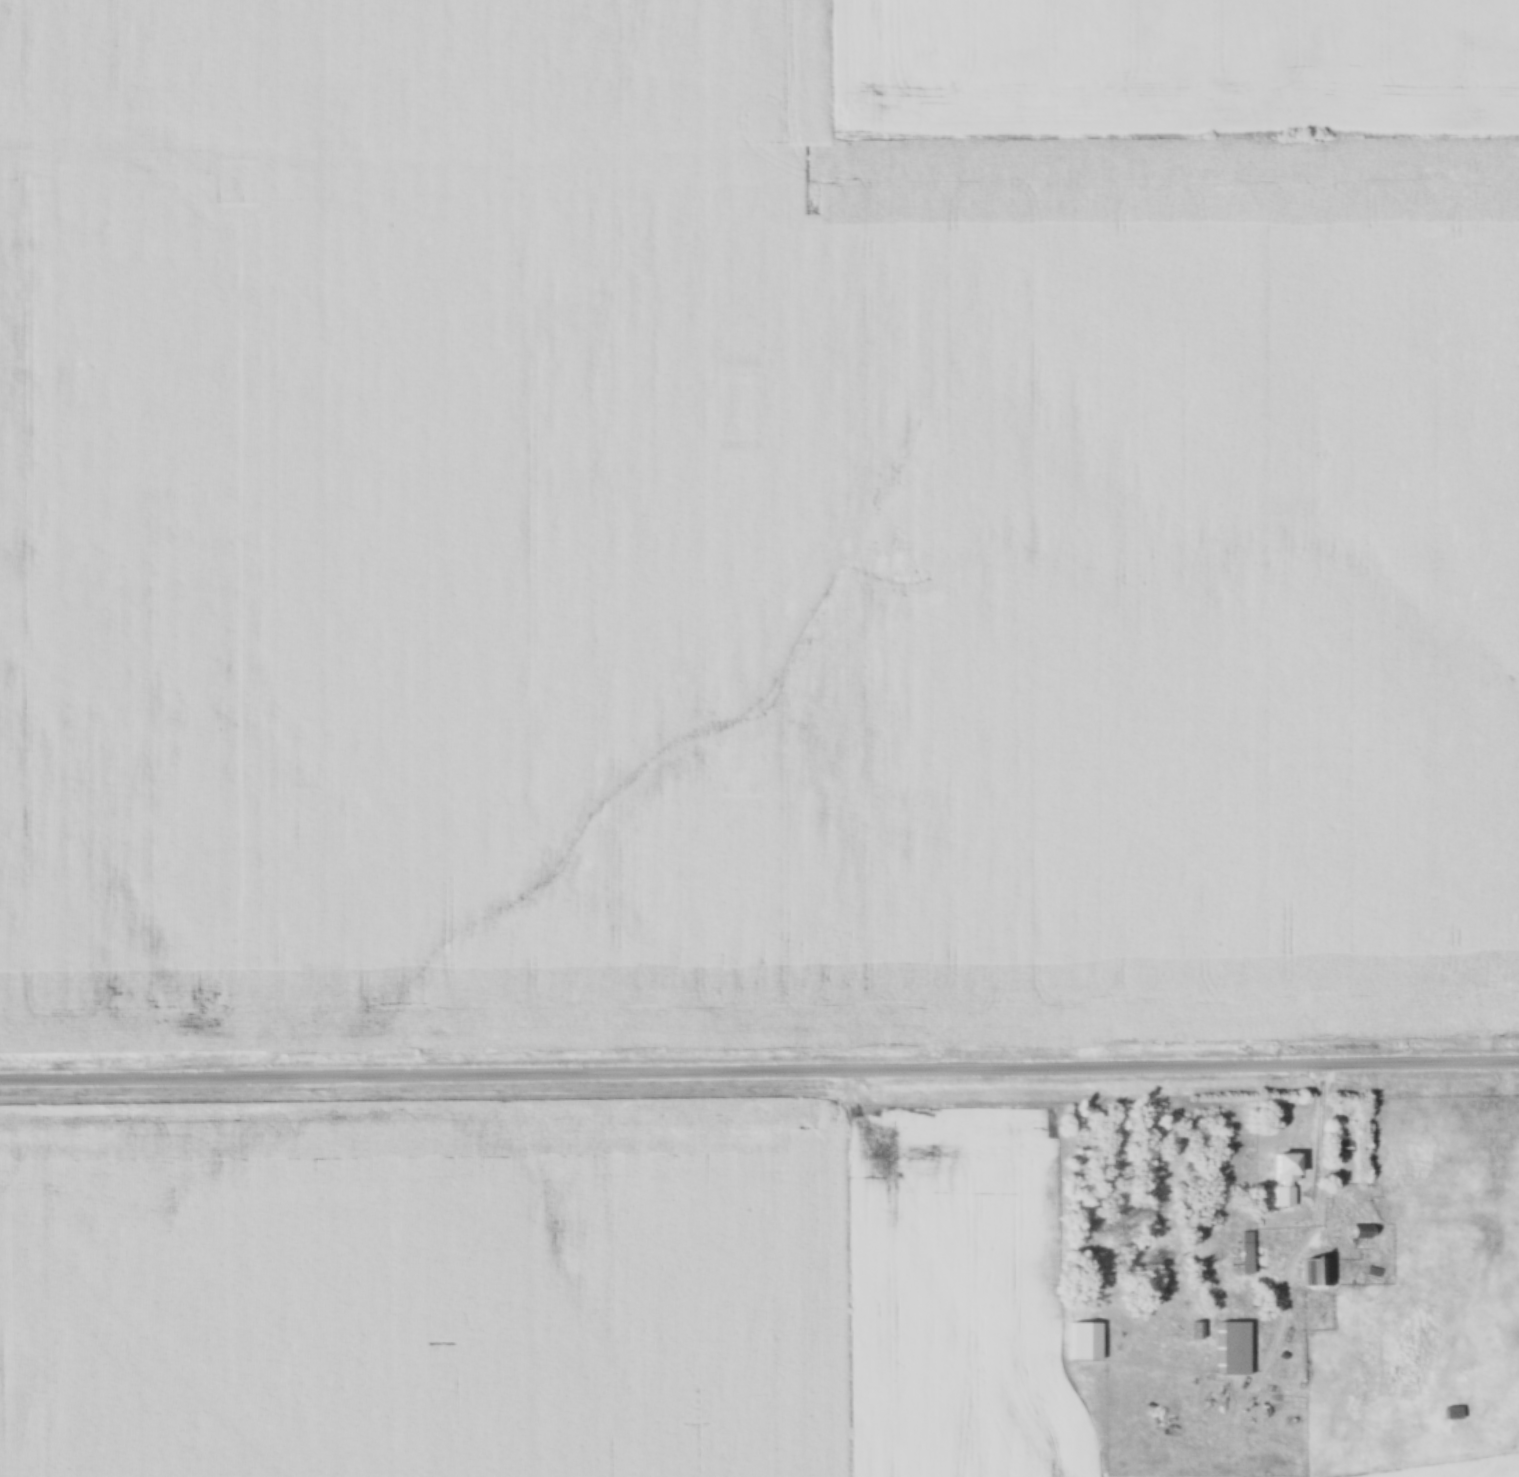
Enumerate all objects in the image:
road: (759, 1072)
road: (1319, 1132)
building: (1288, 1180)
building: (1363, 1232)
building: (1248, 1253)
building: (1319, 1271)
building: (1088, 1341)
building: (1236, 1348)
building: (1454, 1413)

